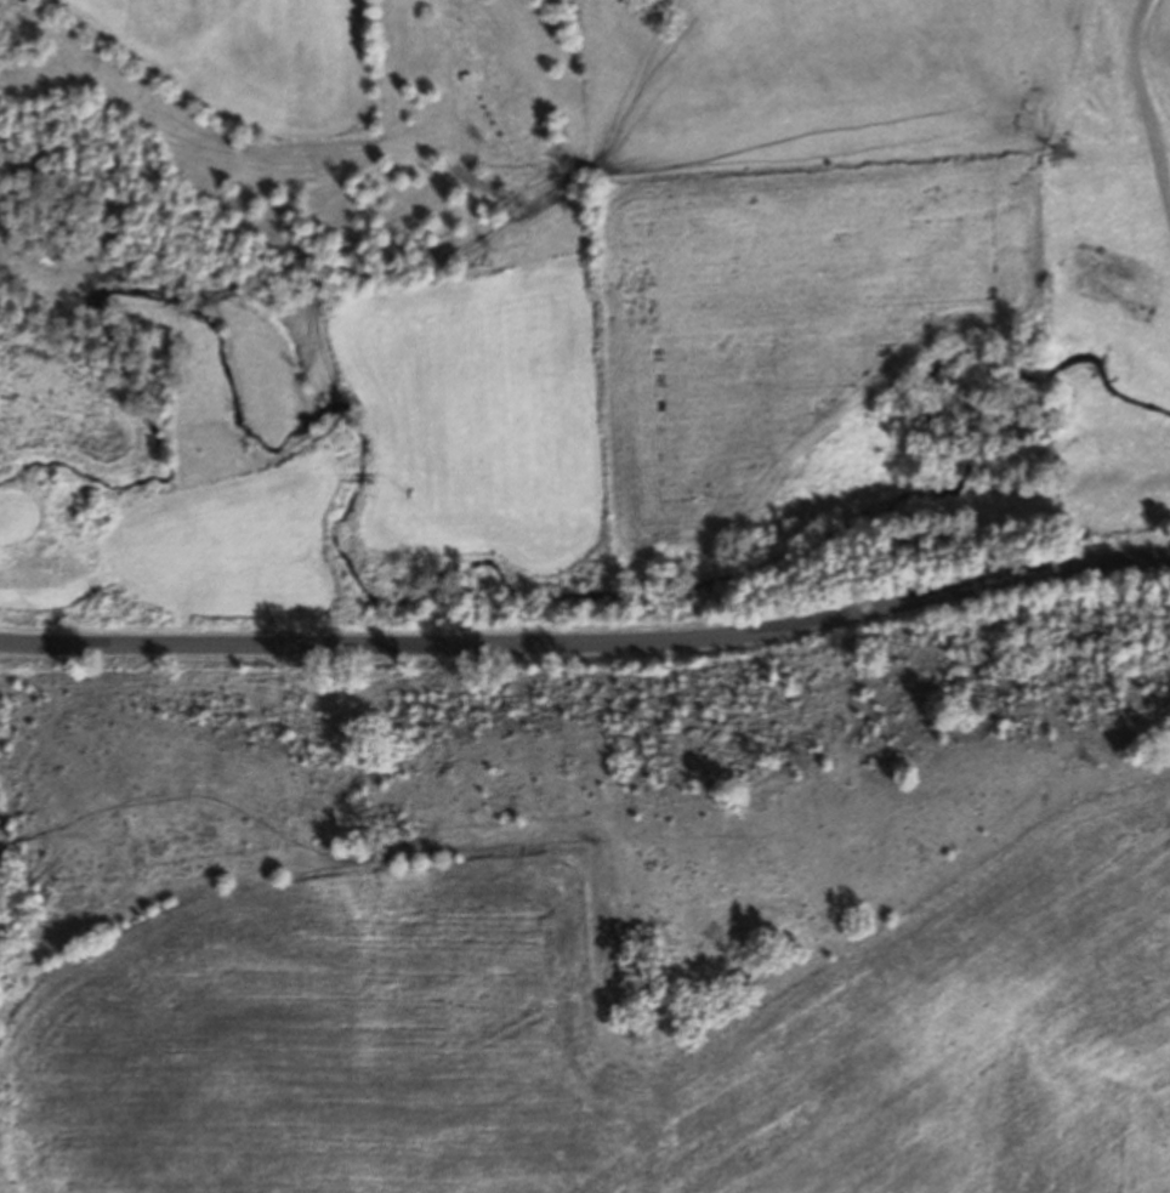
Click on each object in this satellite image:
road: (1148, 100)
building: (1135, 244)
road: (589, 642)

